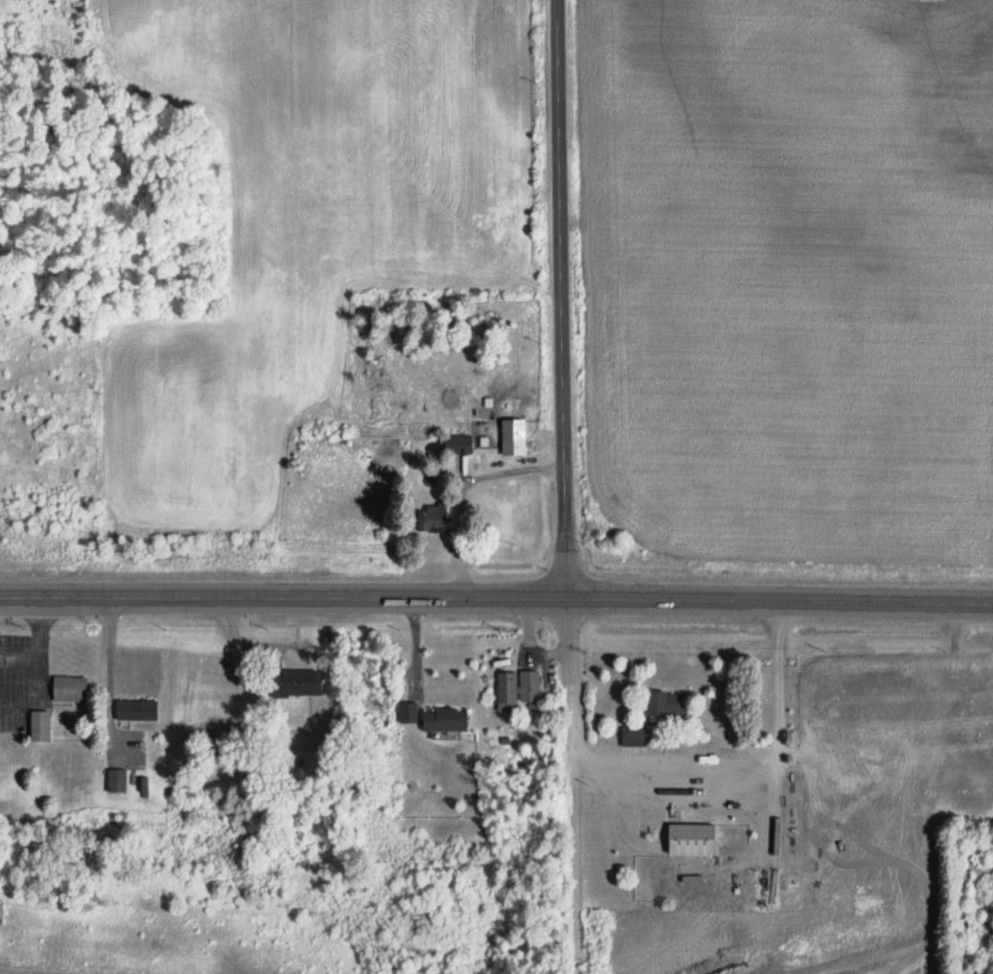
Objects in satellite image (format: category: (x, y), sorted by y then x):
road: (560, 295)
building: (514, 437)
building: (459, 444)
building: (435, 518)
road: (496, 591)
road: (18, 648)
road: (37, 660)
parking lot: (13, 675)
building: (68, 676)
building: (295, 683)
building: (519, 687)
building: (70, 689)
building: (665, 703)
building: (136, 710)
building: (409, 712)
building: (41, 715)
building: (445, 719)
building: (937, 754)
building: (116, 778)
road: (570, 782)
building: (692, 840)

